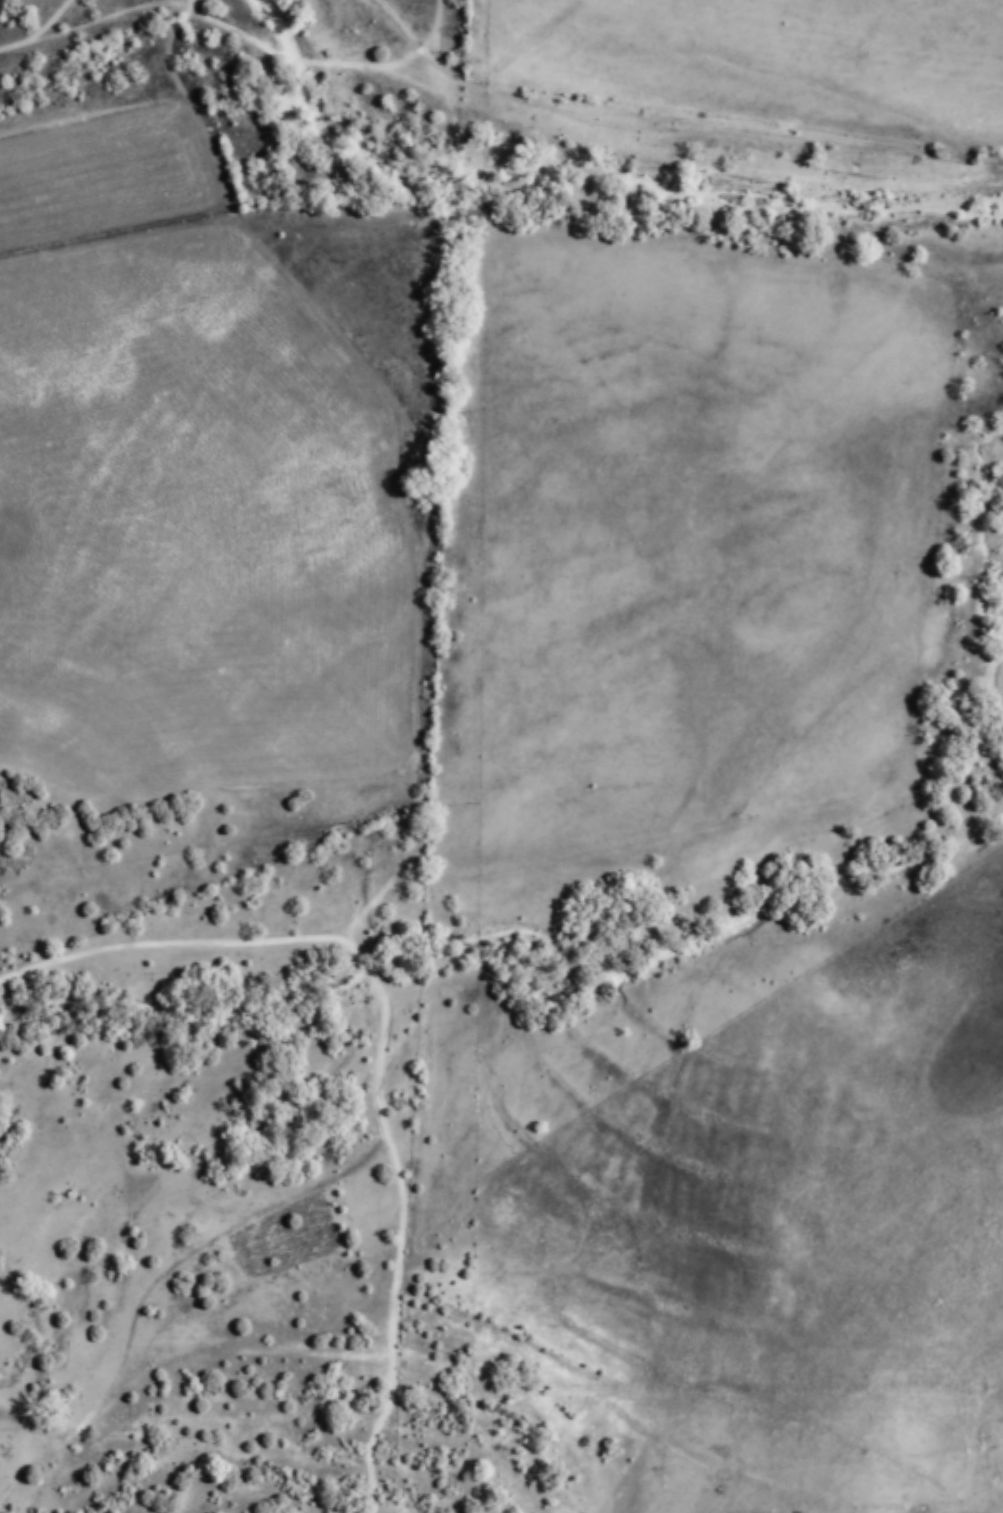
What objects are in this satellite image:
road: (240, 35)
road: (676, 131)

